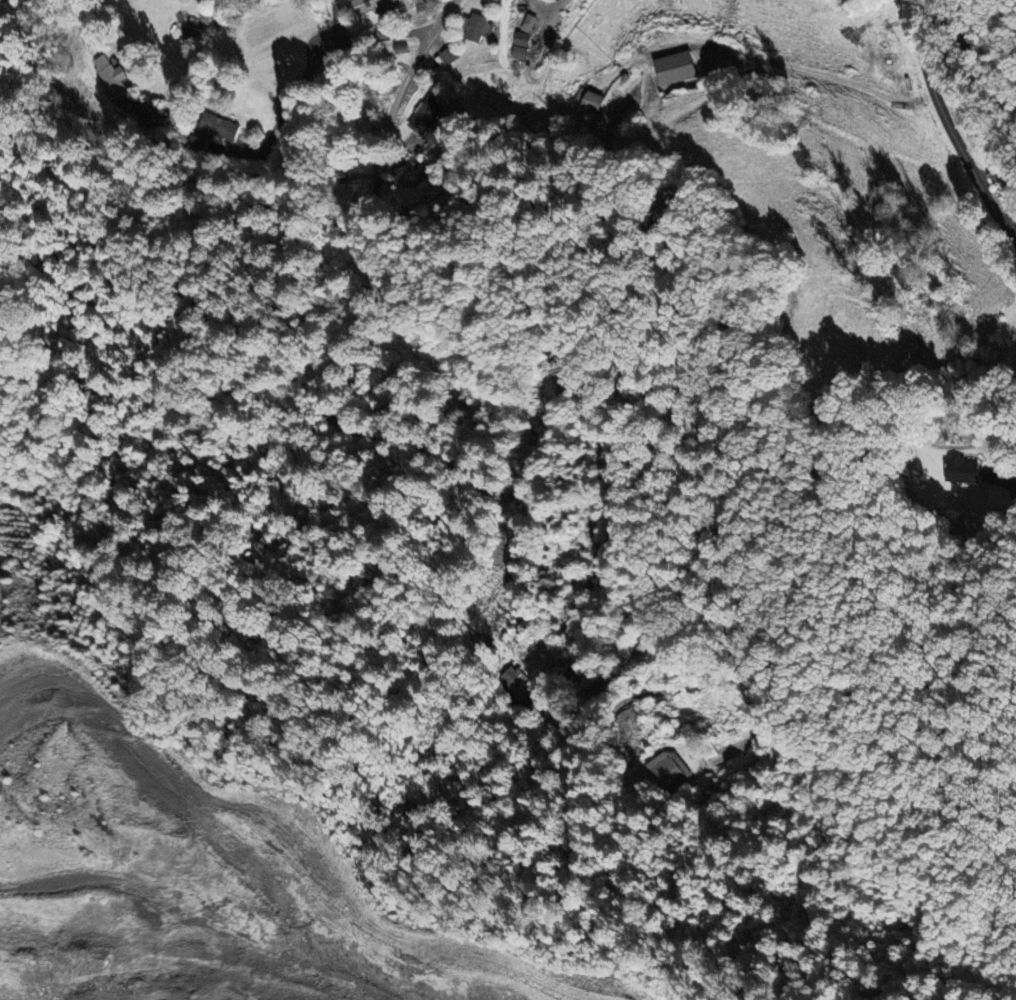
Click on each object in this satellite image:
building: (371, 10)
building: (476, 28)
building: (522, 39)
road: (203, 49)
building: (519, 53)
building: (448, 55)
building: (675, 68)
building: (110, 76)
road: (530, 78)
building: (589, 99)
road: (315, 104)
building: (964, 109)
road: (939, 111)
building: (425, 115)
building: (219, 127)
building: (198, 141)
building: (345, 200)
building: (962, 469)
road: (501, 496)
building: (517, 683)
building: (668, 769)
quarry: (195, 881)

